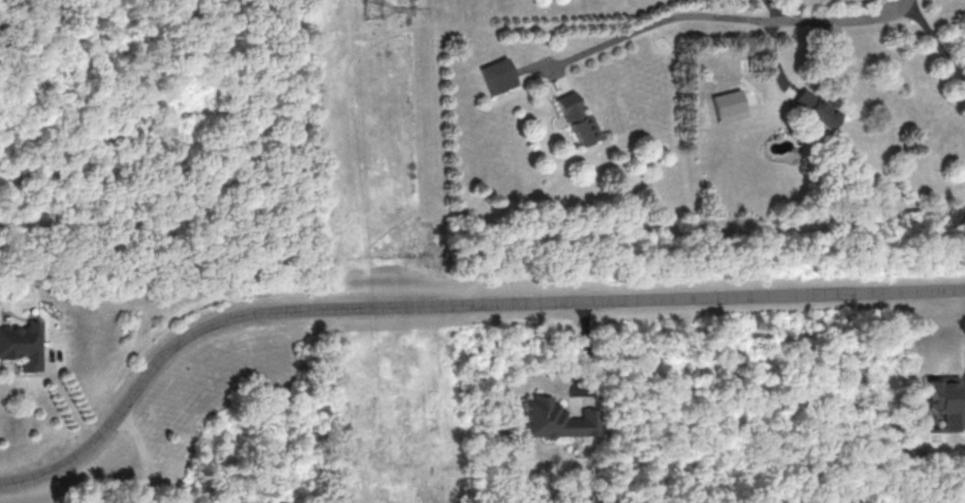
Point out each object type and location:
power tower: (375, 9)
road: (775, 11)
road: (835, 20)
road: (651, 26)
road: (932, 42)
building: (499, 75)
building: (728, 105)
building: (814, 108)
building: (578, 120)
road: (449, 309)
building: (22, 344)
road: (66, 400)
building: (943, 401)
building: (554, 419)
road: (145, 454)

